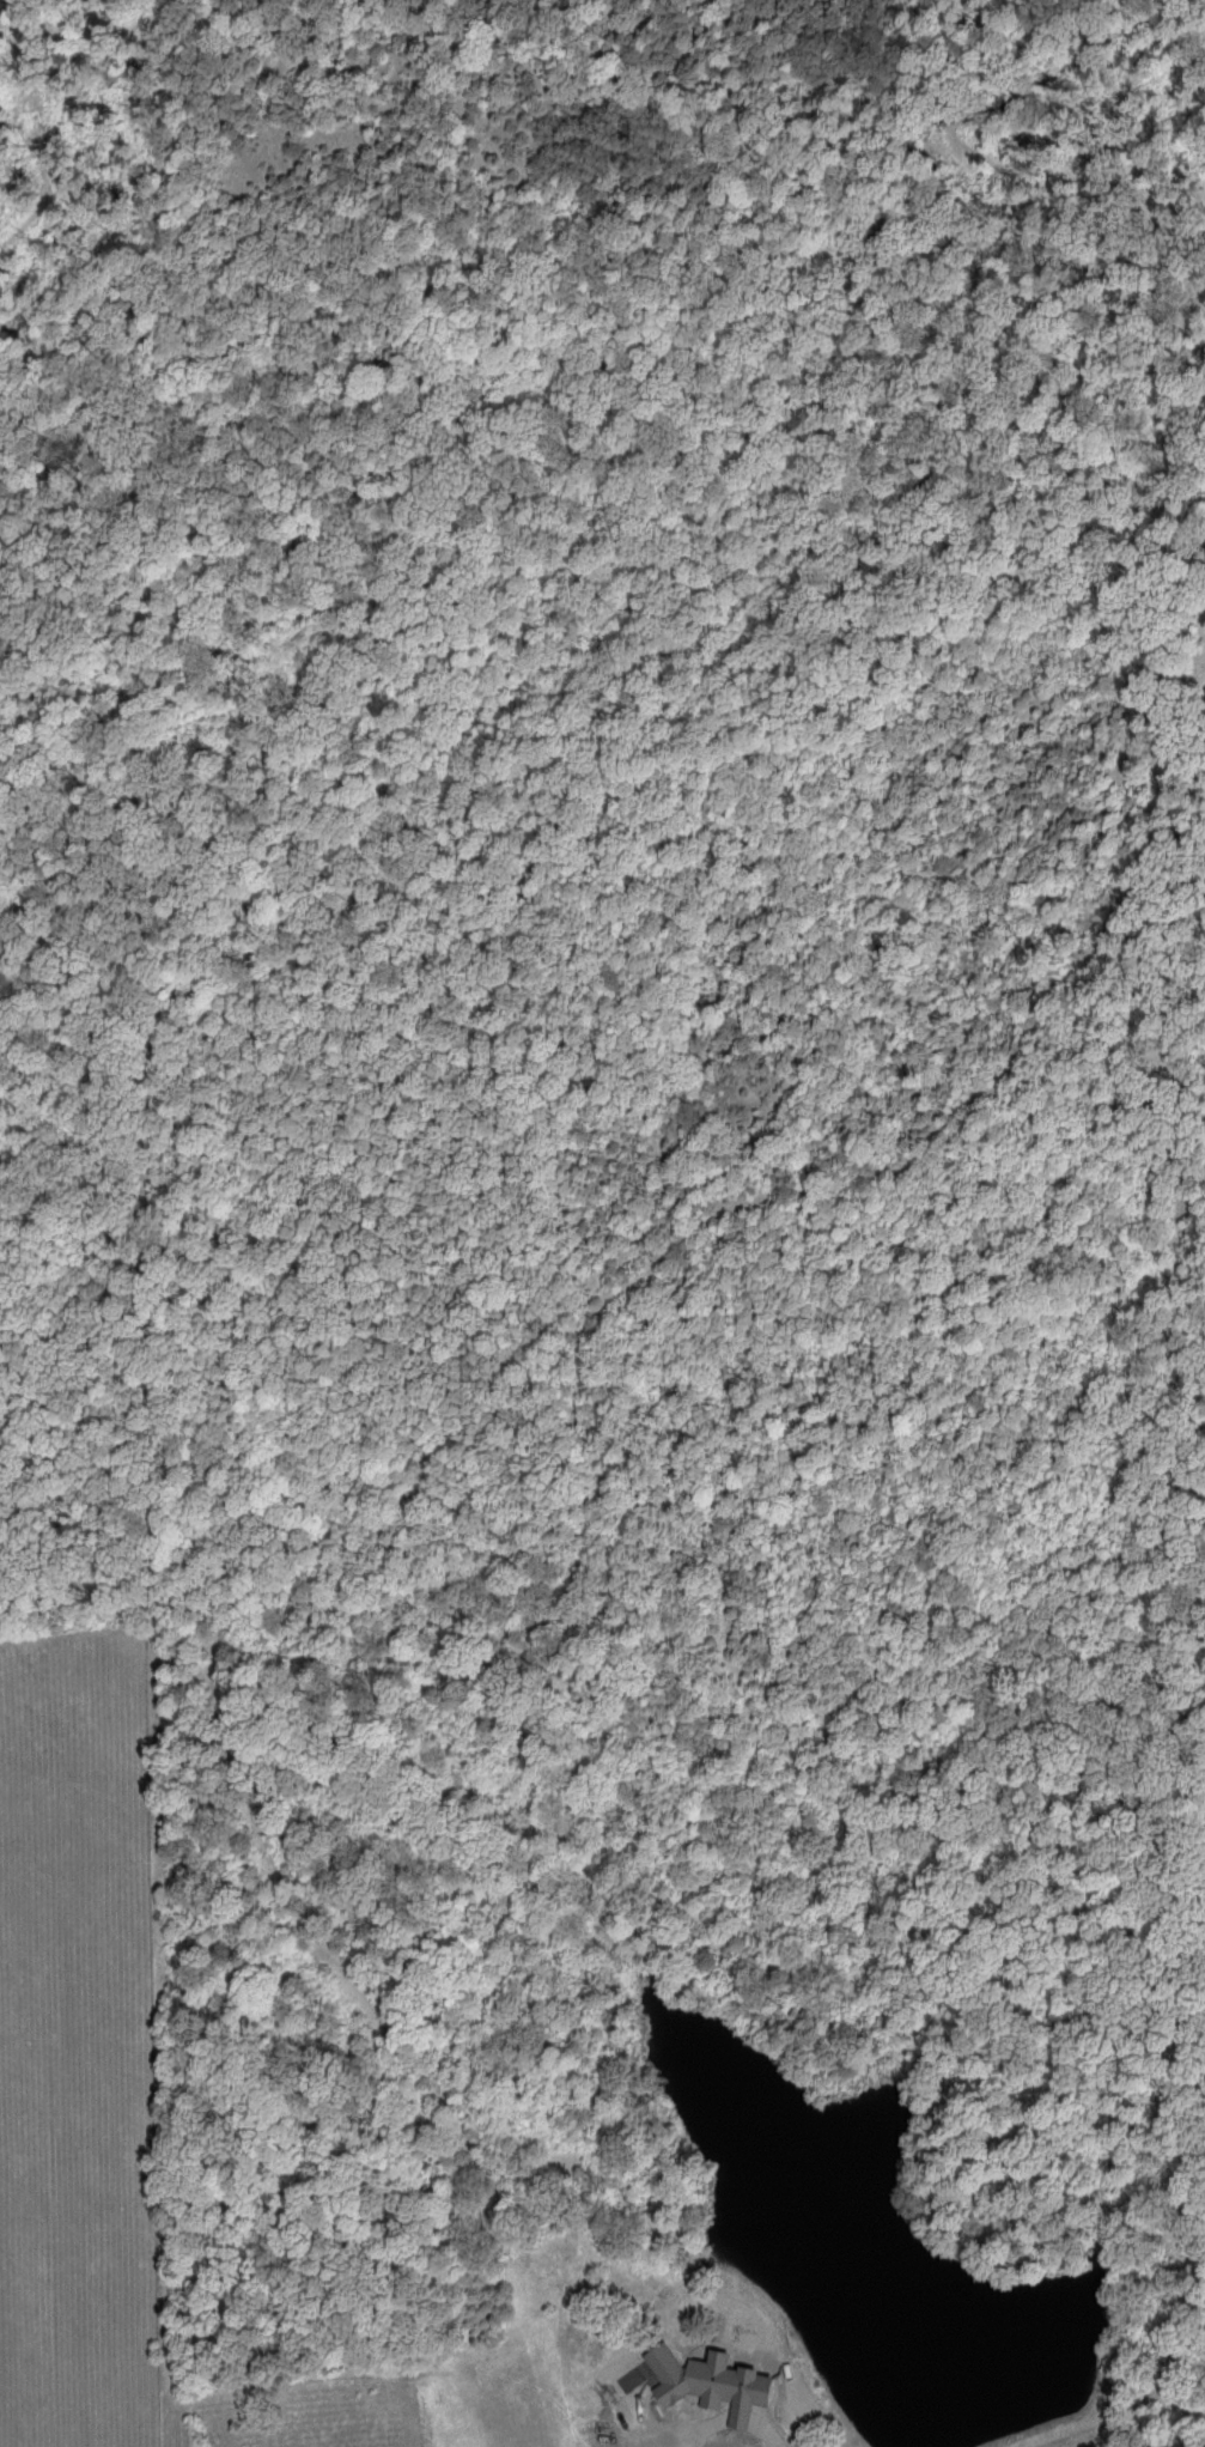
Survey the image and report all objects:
building: (710, 2381)

